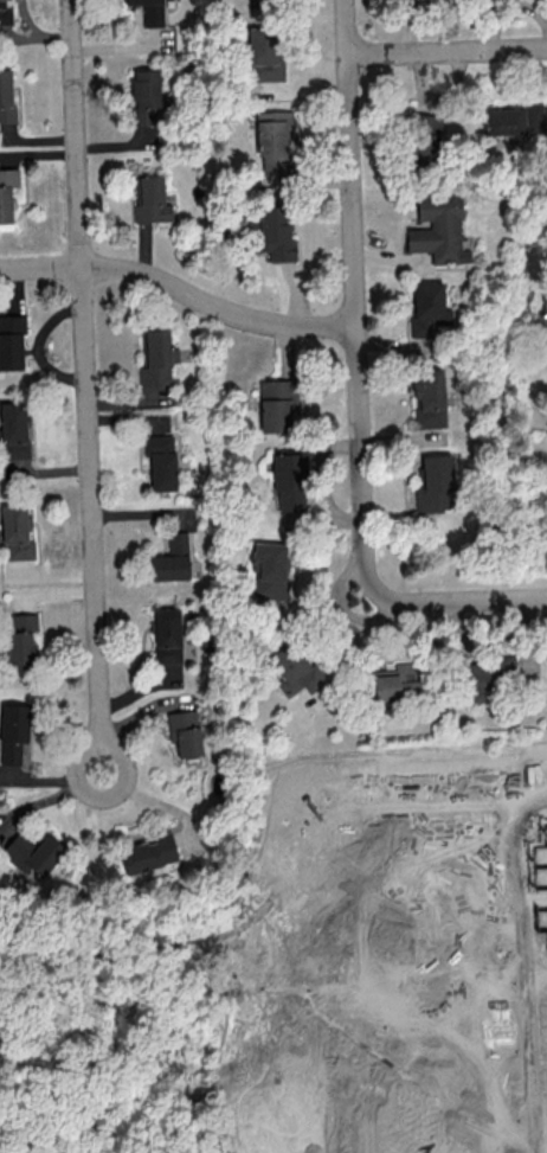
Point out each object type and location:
building: (149, 11)
building: (5, 12)
road: (448, 50)
building: (264, 52)
building: (144, 88)
building: (6, 96)
building: (514, 120)
building: (425, 123)
building: (275, 142)
building: (7, 191)
building: (152, 200)
building: (439, 230)
building: (276, 233)
road: (179, 288)
building: (427, 308)
building: (545, 325)
building: (12, 341)
road: (360, 382)
road: (85, 385)
building: (429, 398)
building: (277, 405)
building: (13, 430)
building: (161, 461)
building: (289, 480)
building: (436, 483)
building: (17, 531)
building: (172, 558)
building: (269, 569)
road: (353, 613)
building: (167, 635)
building: (21, 640)
building: (292, 668)
building: (485, 677)
building: (397, 681)
building: (184, 731)
building: (13, 734)
building: (32, 852)
building: (149, 852)

